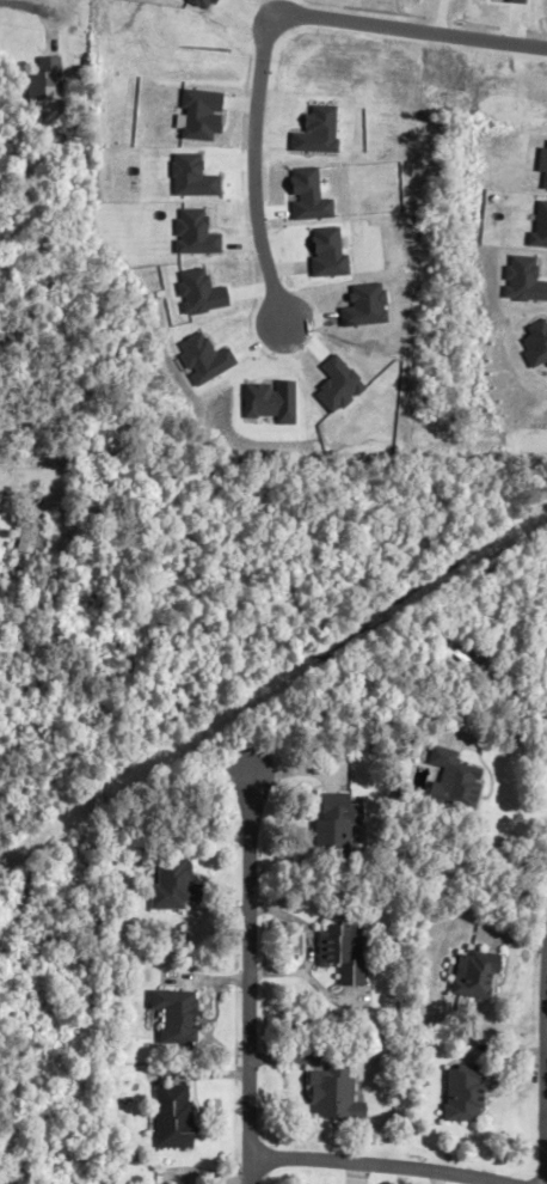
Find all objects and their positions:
road: (19, 5)
road: (262, 33)
building: (42, 80)
building: (31, 535)
road: (508, 696)
building: (460, 783)
building: (340, 824)
building: (174, 885)
building: (345, 952)
building: (479, 975)
road: (245, 976)
building: (178, 1015)
road: (542, 1073)
building: (467, 1093)
building: (336, 1094)
building: (177, 1116)
road: (381, 1160)

